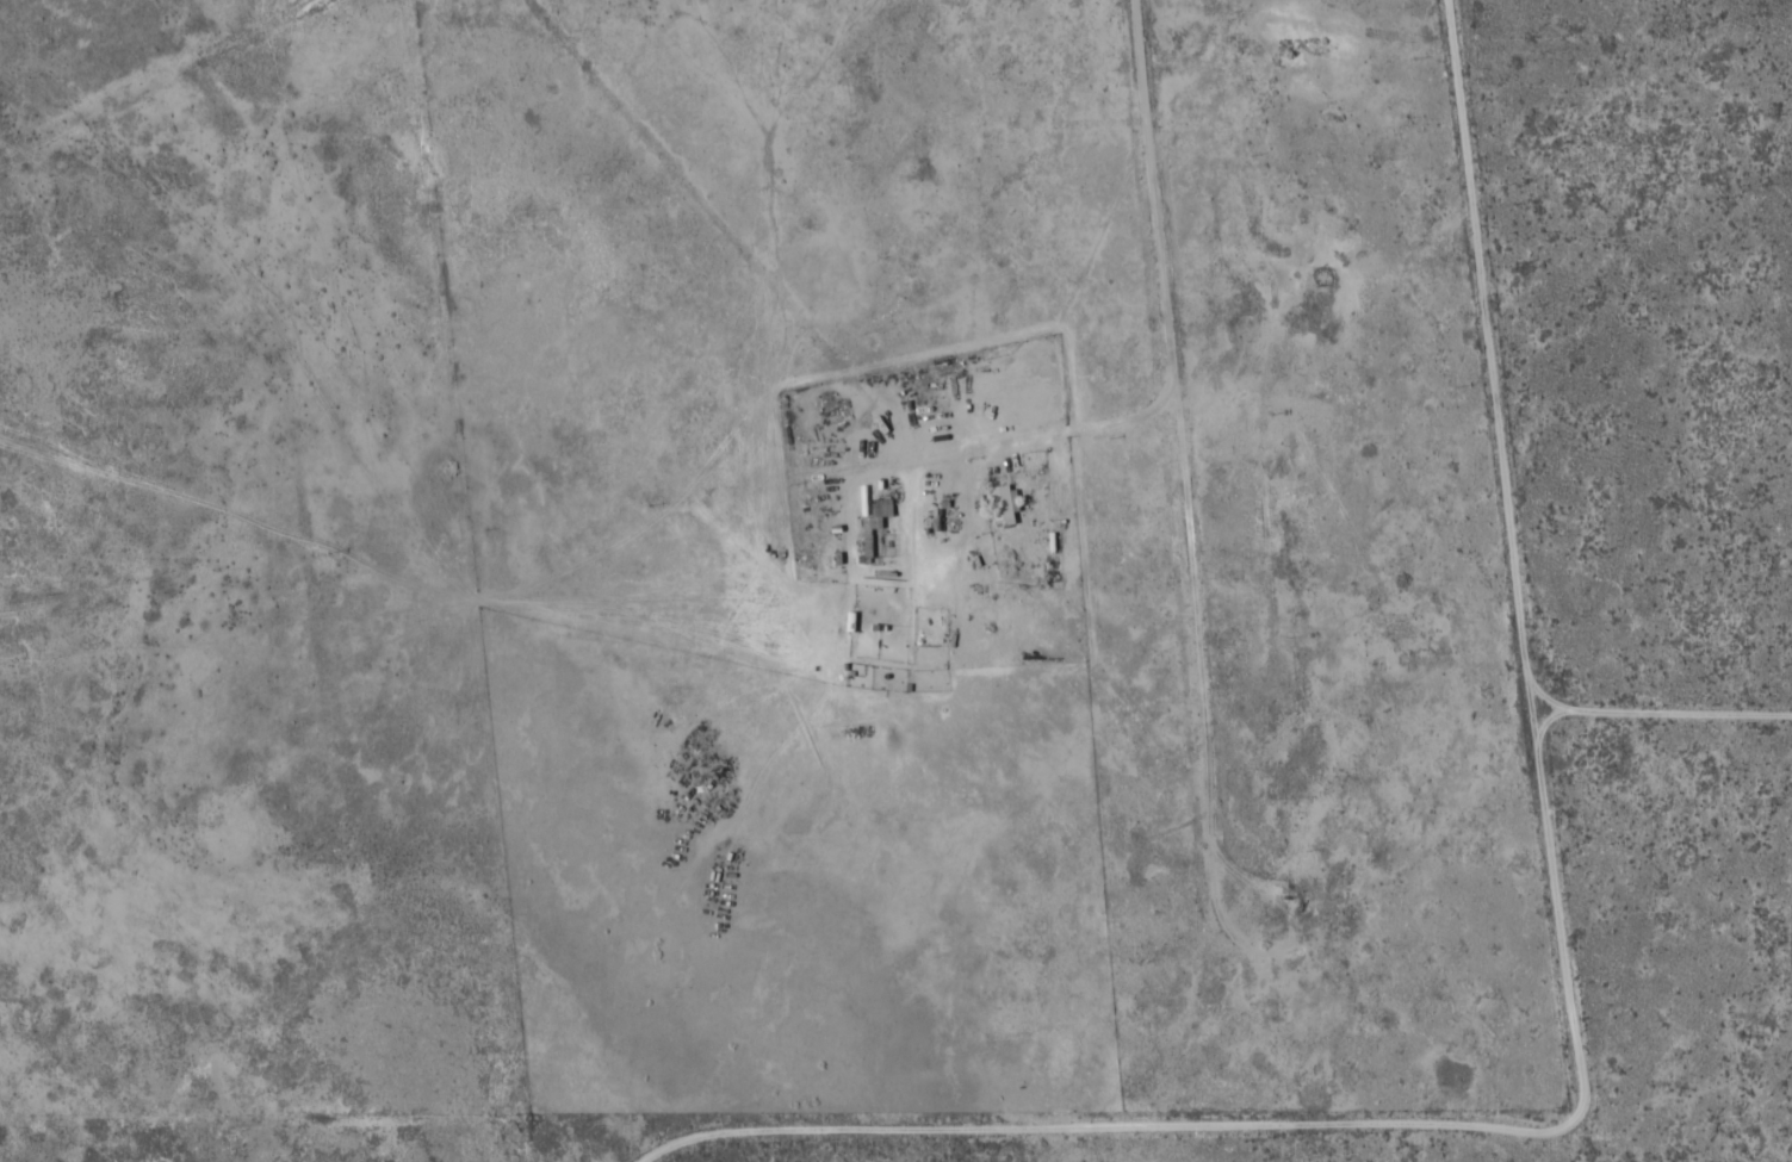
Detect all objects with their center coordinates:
road: (831, 213)
road: (732, 220)
road: (1161, 244)
road: (535, 298)
road: (45, 460)
building: (1003, 499)
building: (874, 528)

